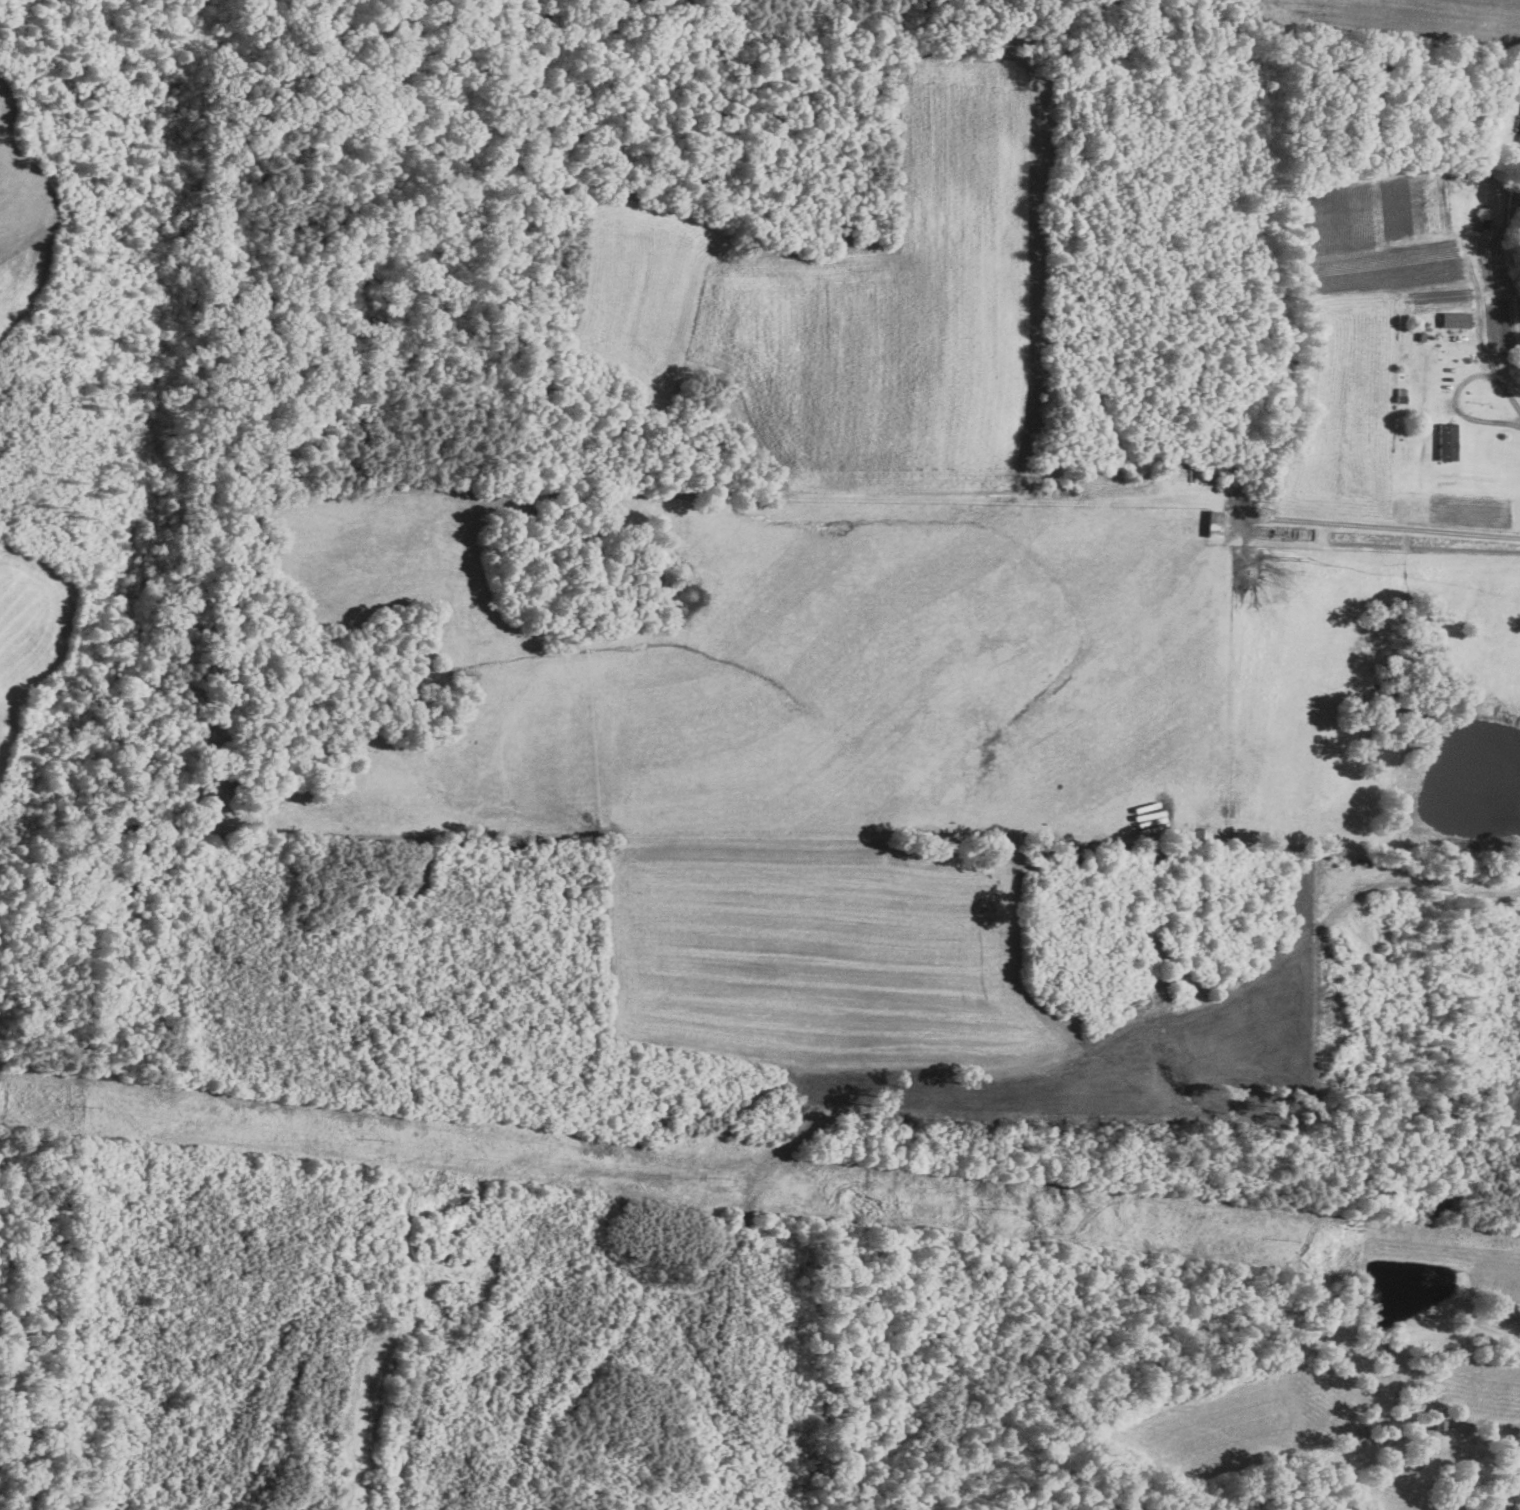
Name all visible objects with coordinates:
building: (1519, 138)
building: (1456, 318)
road: (1456, 393)
road: (1519, 406)
building: (1448, 441)
building: (1215, 522)
road: (1389, 526)
building: (1200, 835)

